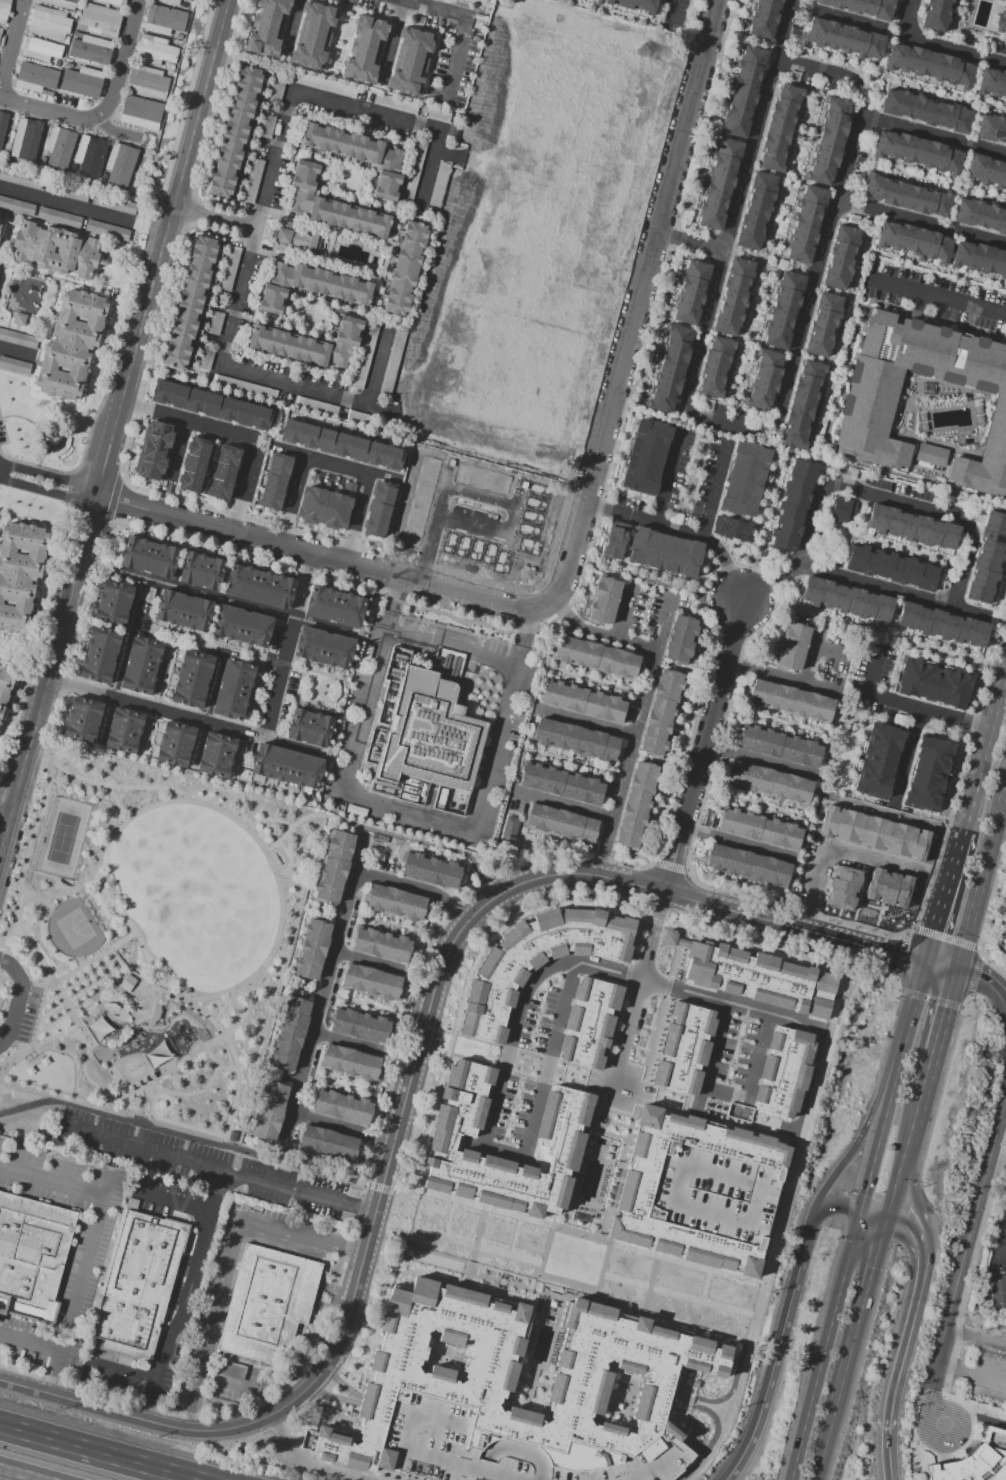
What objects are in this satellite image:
building: (186, 0)
building: (114, 2)
building: (170, 2)
building: (62, 3)
building: (635, 5)
building: (862, 7)
building: (4, 10)
road: (668, 12)
building: (935, 14)
road: (836, 17)
building: (100, 19)
building: (763, 19)
building: (163, 20)
building: (1001, 22)
building: (50, 23)
building: (267, 27)
building: (1, 30)
road: (290, 30)
road: (462, 33)
building: (313, 35)
road: (611, 36)
building: (843, 38)
road: (392, 43)
road: (936, 45)
road: (12, 46)
building: (90, 48)
building: (365, 50)
building: (42, 51)
building: (155, 51)
road: (120, 62)
building: (411, 62)
building: (929, 65)
building: (37, 78)
building: (82, 81)
building: (148, 82)
building: (992, 83)
building: (324, 84)
building: (276, 91)
building: (743, 92)
building: (485, 100)
building: (395, 104)
road: (332, 108)
building: (924, 109)
road: (52, 111)
building: (141, 113)
building: (438, 115)
building: (3, 125)
building: (267, 126)
building: (779, 127)
building: (991, 128)
building: (235, 131)
road: (932, 136)
building: (28, 138)
building: (828, 140)
building: (59, 147)
building: (916, 151)
building: (88, 154)
building: (359, 155)
building: (120, 163)
building: (986, 171)
building: (413, 172)
building: (21, 179)
road: (628, 179)
building: (252, 181)
building: (718, 184)
building: (439, 185)
building: (66, 191)
building: (906, 196)
road: (735, 203)
building: (114, 204)
building: (17, 206)
building: (333, 206)
road: (67, 207)
building: (755, 210)
road: (462, 212)
building: (979, 215)
building: (59, 217)
road: (217, 219)
building: (805, 223)
road: (920, 224)
building: (0, 226)
building: (107, 230)
building: (295, 240)
building: (913, 241)
road: (690, 242)
building: (538, 243)
building: (79, 250)
building: (840, 257)
building: (979, 258)
road: (819, 260)
building: (229, 268)
building: (405, 268)
building: (310, 287)
building: (690, 292)
building: (733, 296)
road: (937, 297)
building: (190, 303)
road: (640, 303)
building: (782, 310)
building: (19, 319)
building: (216, 323)
building: (823, 324)
building: (18, 339)
building: (310, 344)
building: (71, 345)
building: (365, 356)
building: (206, 358)
building: (392, 363)
building: (15, 365)
building: (715, 367)
building: (669, 369)
road: (248, 371)
building: (764, 379)
building: (243, 388)
building: (802, 403)
building: (211, 405)
building: (315, 407)
building: (863, 415)
building: (362, 419)
road: (188, 423)
road: (114, 433)
road: (503, 440)
building: (340, 444)
building: (155, 450)
road: (176, 454)
building: (929, 455)
building: (645, 457)
building: (282, 458)
building: (194, 464)
road: (335, 465)
building: (223, 472)
road: (453, 474)
road: (666, 474)
road: (50, 475)
building: (743, 479)
road: (244, 487)
road: (714, 488)
road: (48, 491)
road: (895, 501)
building: (792, 506)
building: (323, 507)
building: (378, 509)
building: (842, 510)
road: (644, 518)
building: (911, 527)
building: (730, 529)
building: (480, 531)
building: (614, 540)
building: (664, 552)
building: (148, 556)
building: (987, 557)
road: (327, 559)
road: (727, 564)
building: (890, 568)
building: (201, 571)
building: (20, 574)
road: (767, 584)
road: (871, 585)
building: (259, 586)
building: (845, 599)
building: (604, 600)
building: (113, 603)
building: (334, 606)
road: (963, 607)
road: (248, 608)
building: (184, 611)
road: (623, 611)
road: (661, 623)
building: (942, 624)
building: (242, 626)
building: (680, 640)
road: (454, 644)
building: (324, 647)
building: (793, 647)
road: (287, 648)
road: (123, 652)
building: (99, 654)
building: (595, 657)
building: (140, 666)
building: (192, 679)
road: (791, 682)
building: (933, 683)
building: (7, 689)
building: (232, 689)
building: (790, 701)
building: (583, 702)
building: (661, 711)
road: (637, 712)
road: (931, 713)
road: (184, 719)
building: (82, 720)
road: (583, 723)
building: (309, 726)
building: (123, 730)
building: (430, 734)
building: (576, 739)
building: (175, 743)
road: (705, 745)
building: (779, 746)
road: (981, 754)
building: (216, 755)
building: (878, 760)
road: (761, 762)
building: (286, 766)
building: (928, 774)
building: (769, 783)
building: (562, 784)
building: (637, 805)
road: (565, 807)
road: (411, 811)
road: (6, 816)
road: (235, 819)
building: (561, 823)
building: (759, 829)
building: (510, 830)
building: (873, 831)
road: (389, 832)
park: (64, 838)
road: (32, 843)
road: (739, 845)
road: (847, 853)
building: (746, 864)
building: (334, 867)
building: (431, 870)
road: (983, 871)
road: (517, 886)
building: (887, 886)
building: (842, 887)
road: (416, 890)
park: (196, 892)
building: (395, 902)
road: (943, 904)
park: (74, 929)
building: (593, 931)
park: (146, 938)
building: (1004, 941)
building: (381, 945)
building: (313, 950)
road: (890, 950)
traffic signals: (928, 959)
road: (368, 961)
road: (92, 964)
road: (942, 964)
traffic signals: (957, 969)
building: (372, 981)
building: (757, 981)
road: (140, 982)
road: (987, 983)
road: (324, 986)
road: (635, 994)
road: (917, 996)
road: (20, 998)
road: (190, 1004)
parking lot: (26, 1014)
building: (588, 1022)
building: (360, 1025)
building: (290, 1035)
road: (938, 1039)
road: (347, 1043)
building: (683, 1047)
road: (757, 1055)
building: (350, 1062)
building: (781, 1071)
road: (121, 1087)
building: (343, 1107)
building: (270, 1110)
building: (738, 1112)
road: (487, 1122)
road: (342, 1129)
road: (864, 1129)
road: (190, 1140)
building: (328, 1143)
building: (558, 1144)
road: (24, 1159)
road: (904, 1163)
road: (215, 1169)
road: (66, 1171)
road: (51, 1181)
building: (697, 1191)
road: (170, 1204)
road: (837, 1207)
traffic signals: (865, 1211)
road: (976, 1212)
road: (877, 1214)
traffic signals: (890, 1217)
road: (779, 1222)
road: (571, 1232)
road: (1004, 1250)
building: (31, 1257)
road: (852, 1257)
road: (1004, 1259)
road: (229, 1261)
road: (78, 1283)
building: (138, 1285)
building: (996, 1290)
road: (186, 1296)
building: (267, 1304)
road: (862, 1321)
road: (904, 1338)
road: (976, 1340)
road: (30, 1343)
road: (776, 1353)
road: (105, 1365)
building: (441, 1372)
road: (972, 1373)
parking lot: (988, 1377)
building: (227, 1379)
road: (934, 1380)
road: (229, 1381)
road: (350, 1399)
road: (260, 1418)
road: (938, 1451)
road: (100, 1452)
road: (826, 1453)
building: (975, 1460)
road: (311, 1463)
road: (17, 1475)

